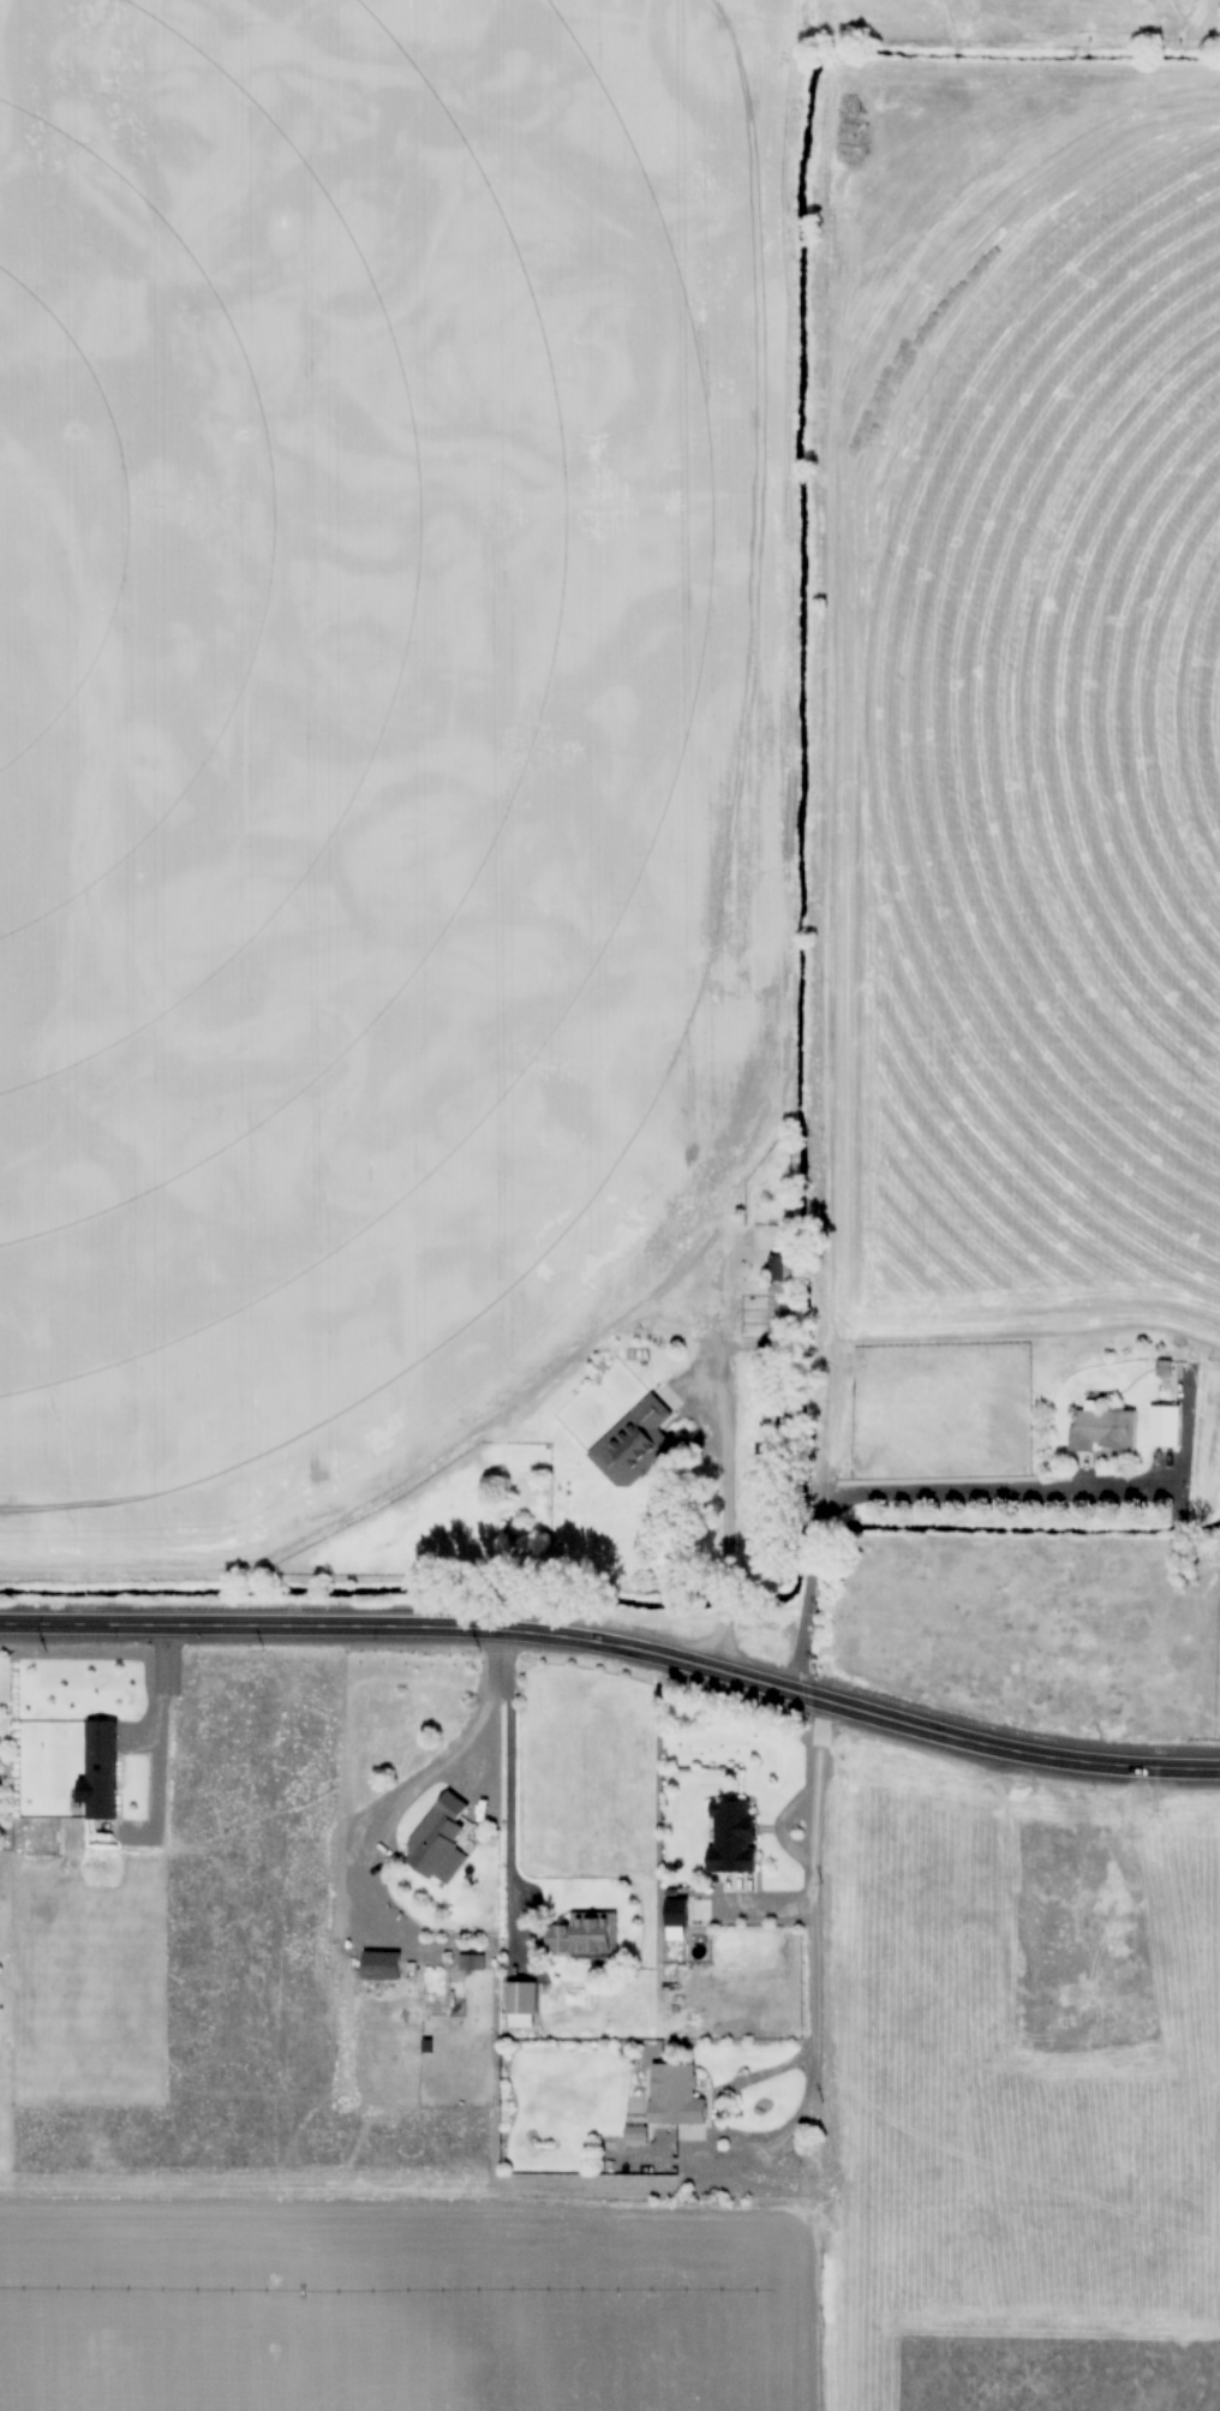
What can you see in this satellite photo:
crop: (1018, 708)
building: (783, 1300)
building: (1143, 1373)
building: (1165, 1428)
building: (1104, 1430)
building: (1144, 1432)
building: (635, 1444)
road: (710, 1444)
road: (951, 1494)
road: (615, 1651)
building: (101, 1770)
building: (437, 1834)
building: (732, 1837)
road: (820, 1879)
building: (585, 1935)
building: (378, 1967)
crop: (1017, 2001)
building: (522, 2005)
building: (675, 2095)
building: (636, 2135)

